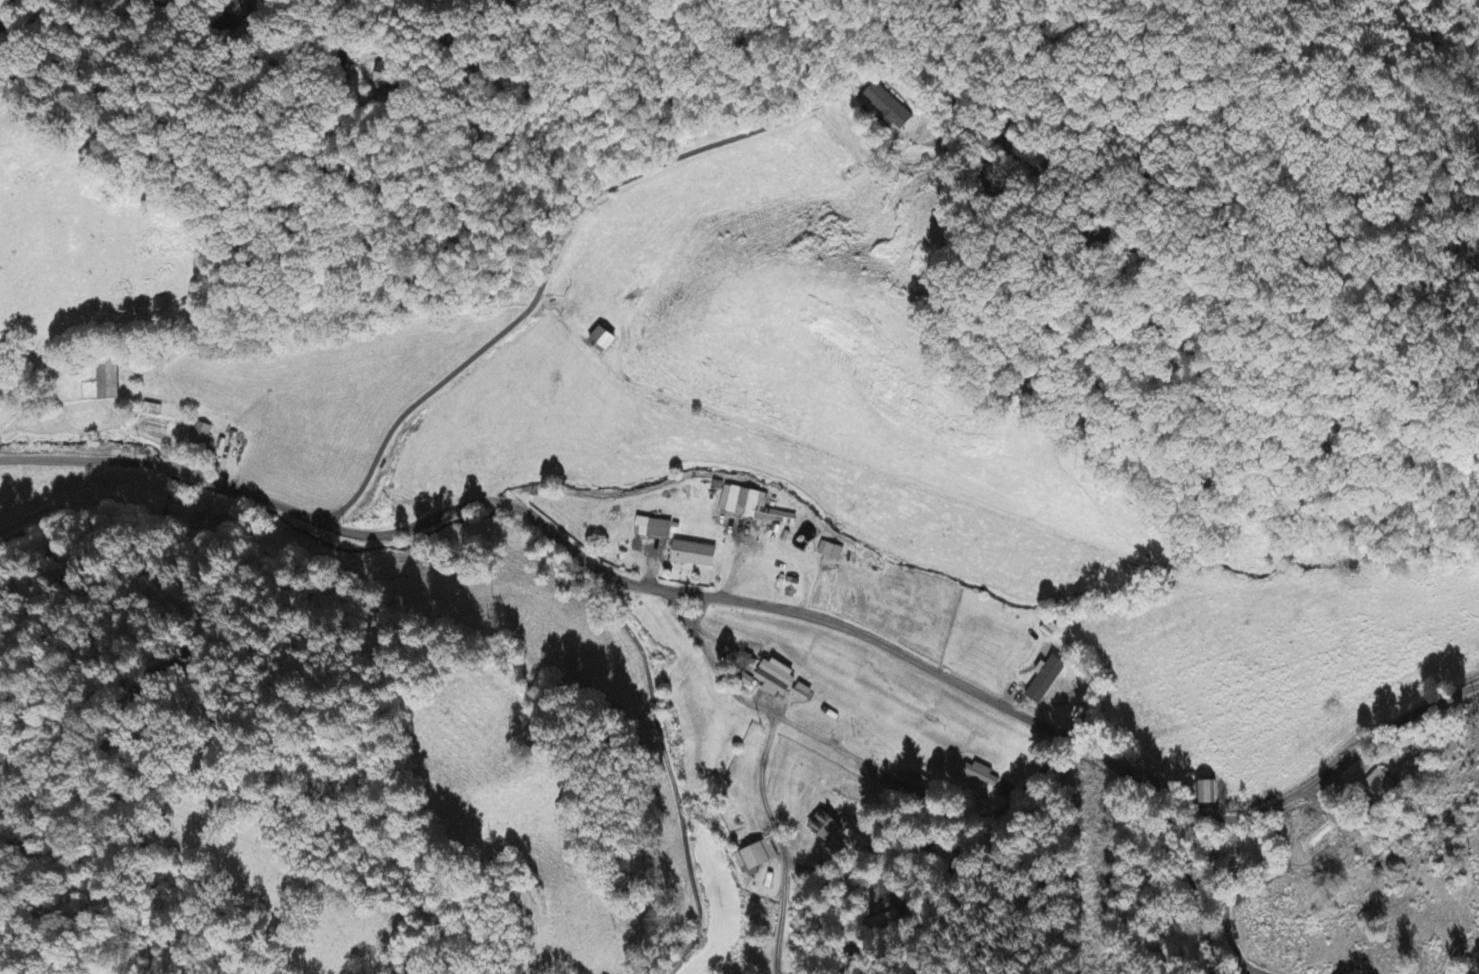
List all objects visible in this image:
building: (4, 23)
building: (386, 79)
building: (887, 107)
road: (209, 133)
road: (329, 245)
building: (607, 341)
building: (108, 382)
building: (152, 411)
building: (201, 437)
road: (75, 460)
road: (165, 466)
building: (749, 505)
building: (656, 530)
building: (832, 552)
building: (697, 556)
building: (794, 589)
road: (849, 626)
building: (778, 679)
building: (1047, 682)
building: (804, 694)
building: (981, 775)
road: (676, 777)
building: (1207, 793)
building: (828, 827)
building: (757, 859)
road: (1186, 886)

